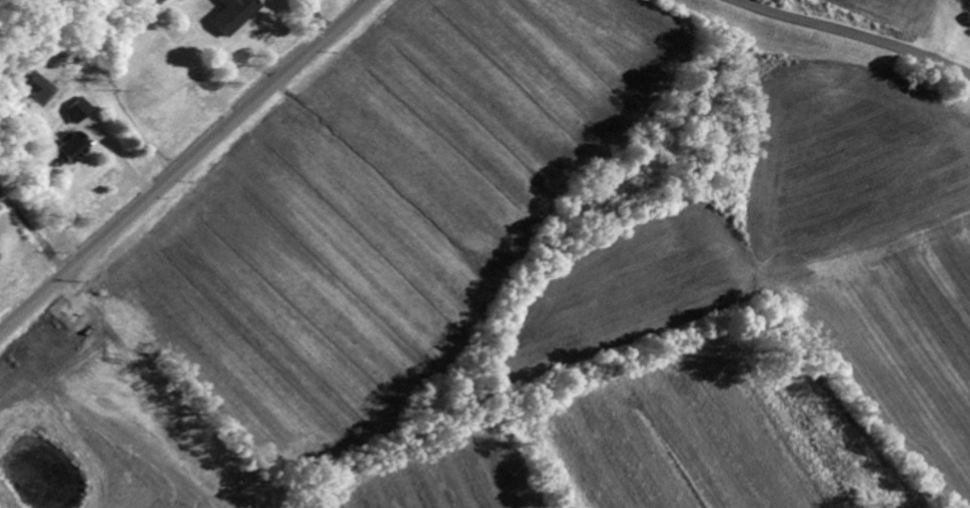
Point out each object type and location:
building: (240, 16)
road: (312, 21)
building: (42, 86)
building: (84, 113)
building: (70, 152)
road: (185, 167)

